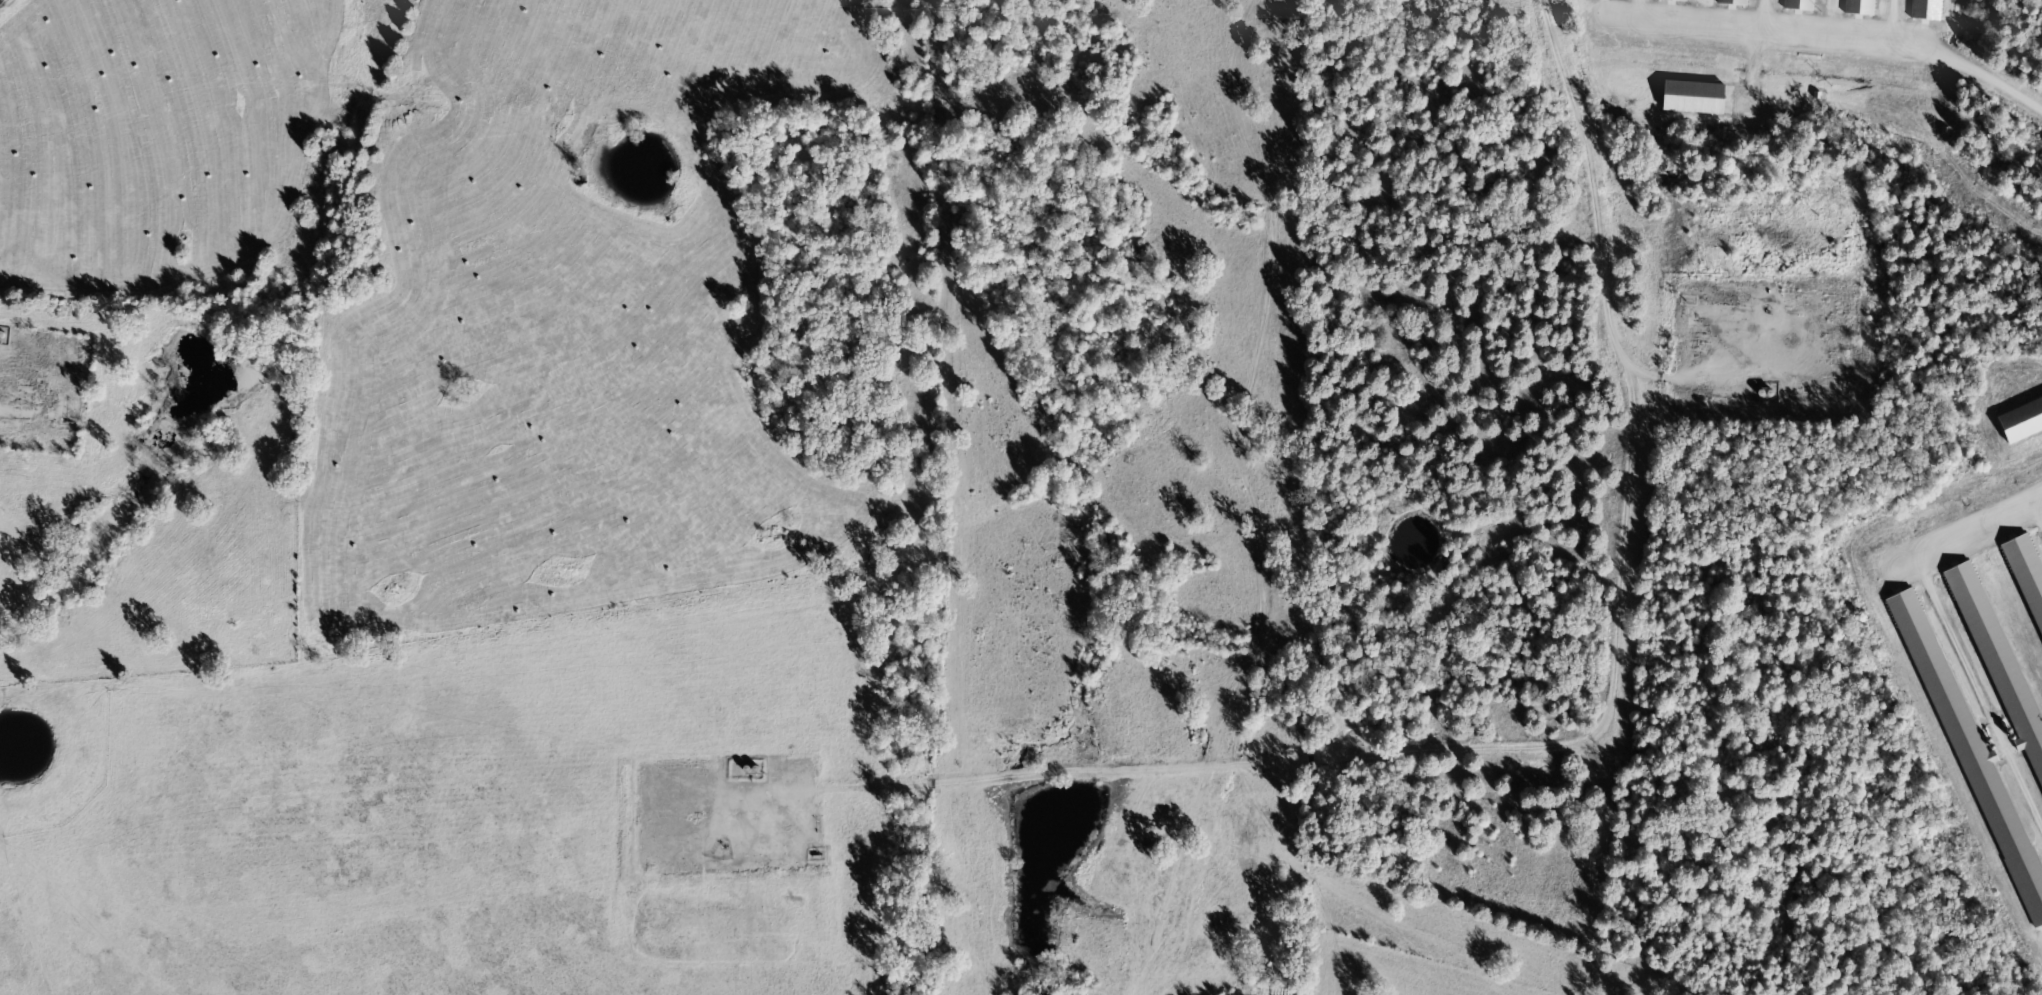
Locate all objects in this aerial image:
building: (1679, 0)
building: (1737, 3)
building: (1801, 5)
building: (1864, 7)
building: (1930, 10)
building: (1695, 98)
building: (2023, 423)
road: (1528, 524)
building: (2030, 567)
building: (2000, 658)
building: (1977, 764)

